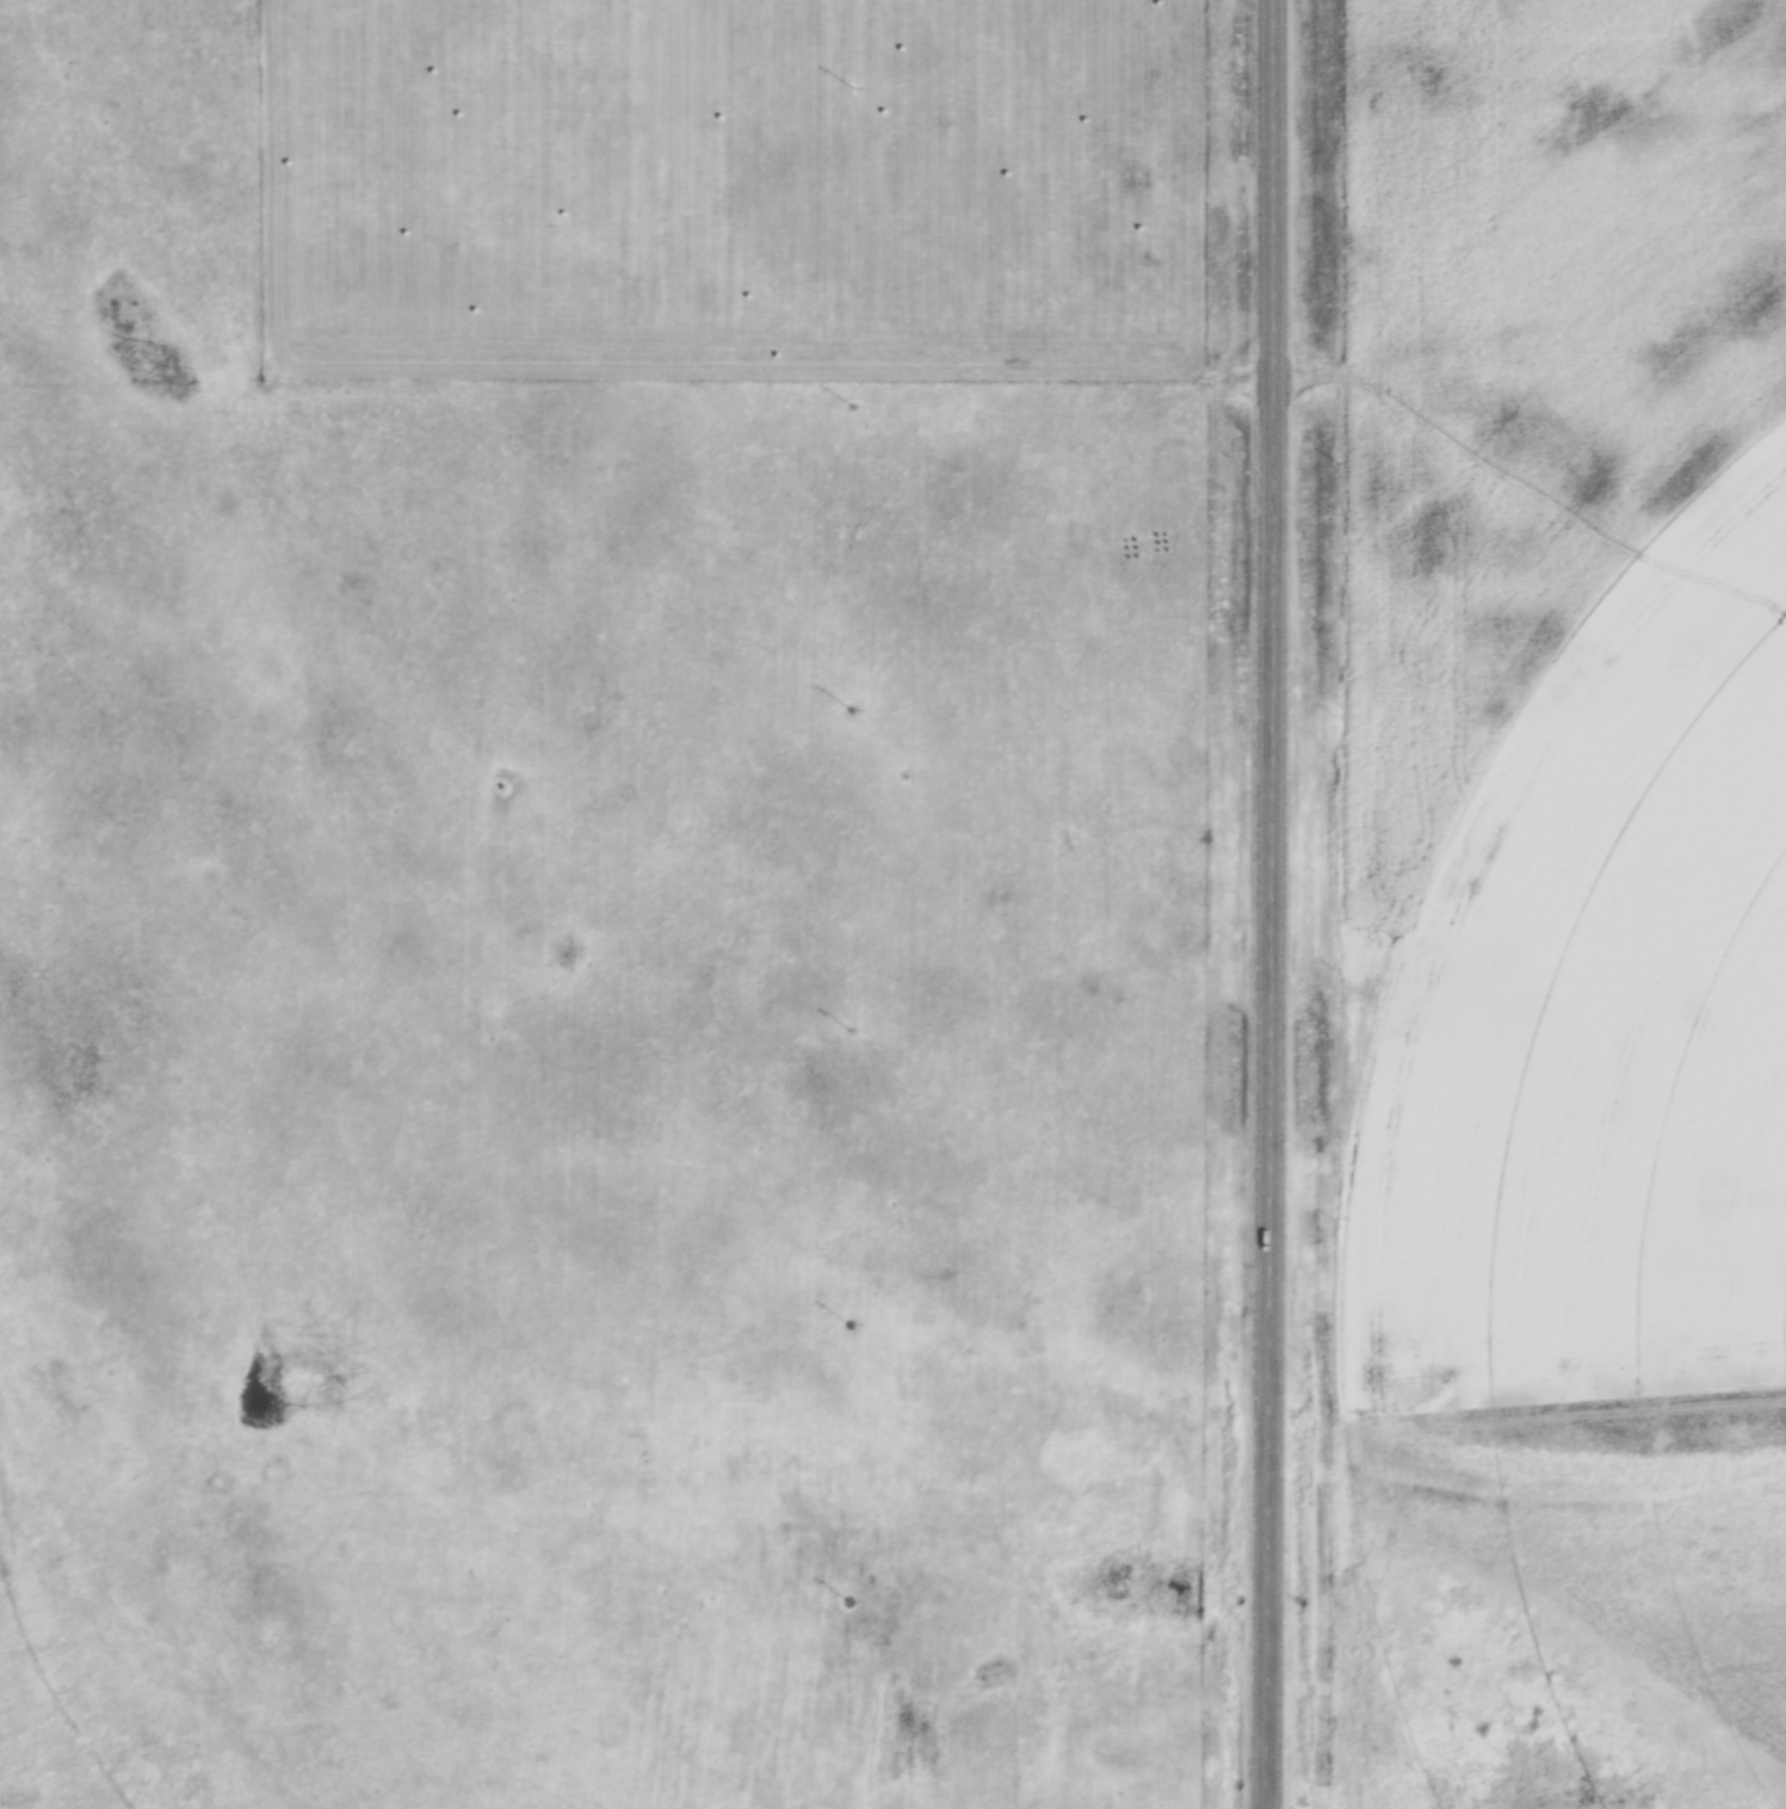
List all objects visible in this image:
road: (1255, 904)

